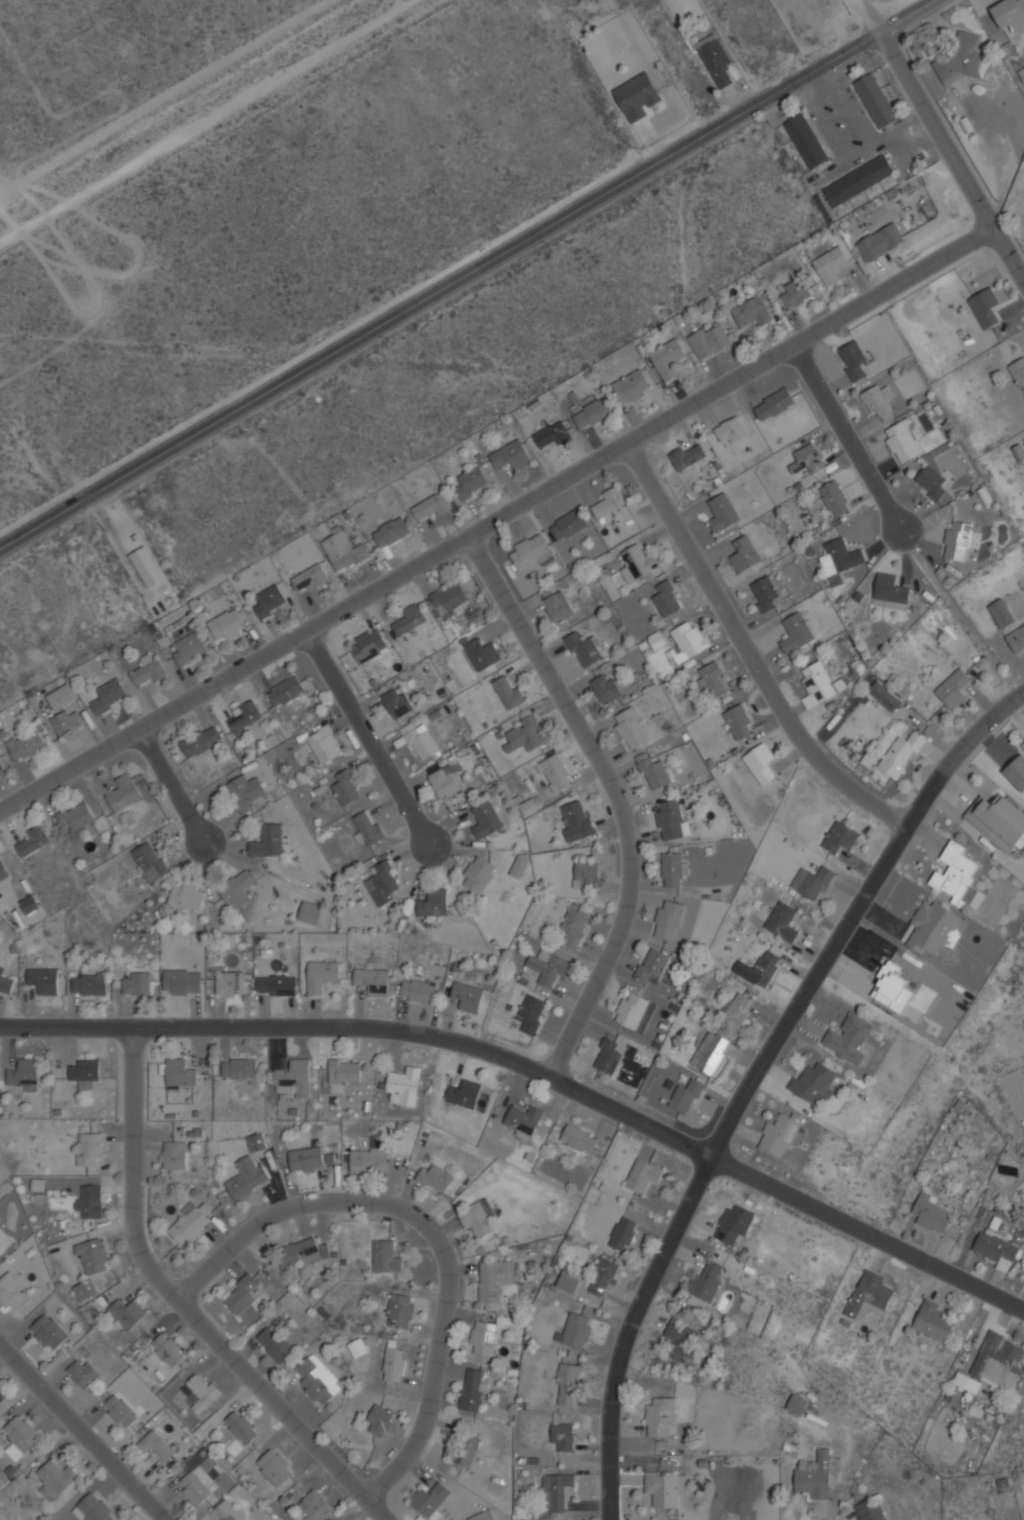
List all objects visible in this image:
building: (1010, 14)
building: (715, 59)
building: (960, 59)
building: (637, 95)
building: (876, 100)
road: (932, 115)
road: (203, 120)
building: (806, 141)
building: (859, 180)
building: (880, 241)
road: (1012, 252)
building: (830, 264)
road: (467, 274)
building: (795, 292)
building: (984, 307)
building: (753, 311)
building: (710, 339)
building: (668, 357)
building: (852, 360)
building: (1018, 371)
building: (632, 386)
building: (878, 399)
building: (773, 404)
building: (593, 413)
building: (730, 430)
building: (551, 435)
road: (852, 440)
building: (902, 441)
building: (1018, 452)
building: (511, 455)
building: (687, 455)
building: (807, 459)
building: (473, 481)
building: (930, 482)
building: (834, 499)
building: (608, 503)
building: (432, 507)
building: (722, 512)
road: (502, 522)
building: (567, 525)
building: (391, 531)
building: (961, 539)
building: (344, 551)
building: (530, 552)
building: (744, 554)
building: (839, 560)
building: (637, 563)
building: (146, 566)
building: (310, 578)
building: (890, 589)
building: (763, 593)
building: (666, 598)
building: (451, 599)
building: (270, 600)
building: (559, 606)
building: (1002, 613)
building: (408, 619)
building: (228, 623)
building: (795, 632)
building: (1016, 639)
building: (686, 641)
building: (369, 645)
building: (189, 648)
building: (583, 648)
building: (482, 653)
road: (750, 655)
building: (150, 668)
building: (712, 679)
building: (817, 682)
building: (606, 688)
building: (953, 688)
building: (285, 691)
building: (509, 691)
building: (109, 695)
building: (62, 696)
building: (884, 696)
building: (397, 702)
building: (245, 717)
building: (66, 721)
building: (738, 721)
building: (630, 728)
building: (526, 732)
building: (420, 740)
building: (201, 741)
road: (370, 741)
building: (27, 744)
building: (324, 744)
building: (901, 754)
building: (760, 762)
building: (1, 765)
building: (652, 771)
building: (554, 773)
building: (445, 780)
road: (170, 786)
building: (347, 787)
building: (245, 791)
building: (124, 792)
road: (618, 799)
building: (529, 805)
building: (76, 815)
building: (486, 819)
building: (669, 819)
building: (576, 820)
building: (998, 820)
building: (368, 827)
building: (840, 837)
building: (31, 840)
building: (267, 840)
building: (150, 862)
building: (519, 865)
building: (672, 869)
building: (2, 870)
building: (478, 874)
building: (585, 874)
building: (957, 877)
building: (381, 884)
building: (815, 884)
building: (237, 889)
building: (187, 896)
building: (434, 903)
building: (28, 904)
building: (310, 912)
building: (668, 920)
building: (782, 921)
building: (575, 925)
building: (933, 928)
building: (652, 965)
building: (548, 968)
building: (758, 969)
building: (322, 975)
building: (44, 980)
building: (373, 980)
building: (5, 981)
building: (136, 982)
building: (182, 982)
building: (229, 983)
building: (89, 985)
building: (277, 985)
building: (892, 988)
building: (418, 990)
building: (467, 996)
building: (736, 1009)
building: (635, 1011)
building: (532, 1013)
building: (848, 1038)
building: (710, 1052)
building: (608, 1056)
building: (239, 1068)
building: (84, 1070)
building: (345, 1071)
building: (179, 1072)
road: (535, 1072)
building: (22, 1075)
building: (292, 1078)
building: (813, 1083)
road: (760, 1084)
building: (405, 1085)
building: (465, 1094)
building: (686, 1096)
building: (524, 1119)
building: (779, 1134)
building: (579, 1138)
building: (256, 1142)
building: (89, 1149)
building: (174, 1155)
building: (368, 1159)
building: (306, 1160)
building: (642, 1175)
building: (247, 1179)
building: (435, 1179)
building: (88, 1203)
building: (931, 1213)
building: (478, 1219)
building: (190, 1224)
building: (734, 1224)
road: (429, 1230)
building: (622, 1233)
building: (996, 1250)
building: (298, 1253)
building: (93, 1257)
building: (386, 1257)
building: (603, 1277)
building: (494, 1280)
building: (570, 1280)
building: (706, 1281)
building: (82, 1291)
building: (12, 1292)
building: (241, 1295)
building: (868, 1295)
road: (183, 1304)
building: (401, 1311)
building: (127, 1313)
building: (932, 1321)
building: (576, 1330)
building: (48, 1332)
building: (483, 1338)
building: (677, 1340)
building: (275, 1344)
building: (168, 1349)
building: (394, 1363)
building: (996, 1364)
building: (82, 1372)
building: (318, 1380)
building: (565, 1385)
building: (475, 1389)
building: (201, 1392)
building: (2, 1394)
building: (797, 1403)
building: (120, 1410)
building: (660, 1417)
building: (380, 1421)
building: (241, 1426)
road: (82, 1432)
building: (21, 1433)
building: (562, 1436)
building: (156, 1444)
building: (464, 1449)
building: (275, 1467)
building: (56, 1476)
building: (815, 1478)
building: (664, 1487)
building: (195, 1489)
building: (554, 1490)
building: (432, 1499)
building: (314, 1506)
building: (94, 1508)
building: (869, 1510)
building: (226, 1512)
building: (483, 1516)

